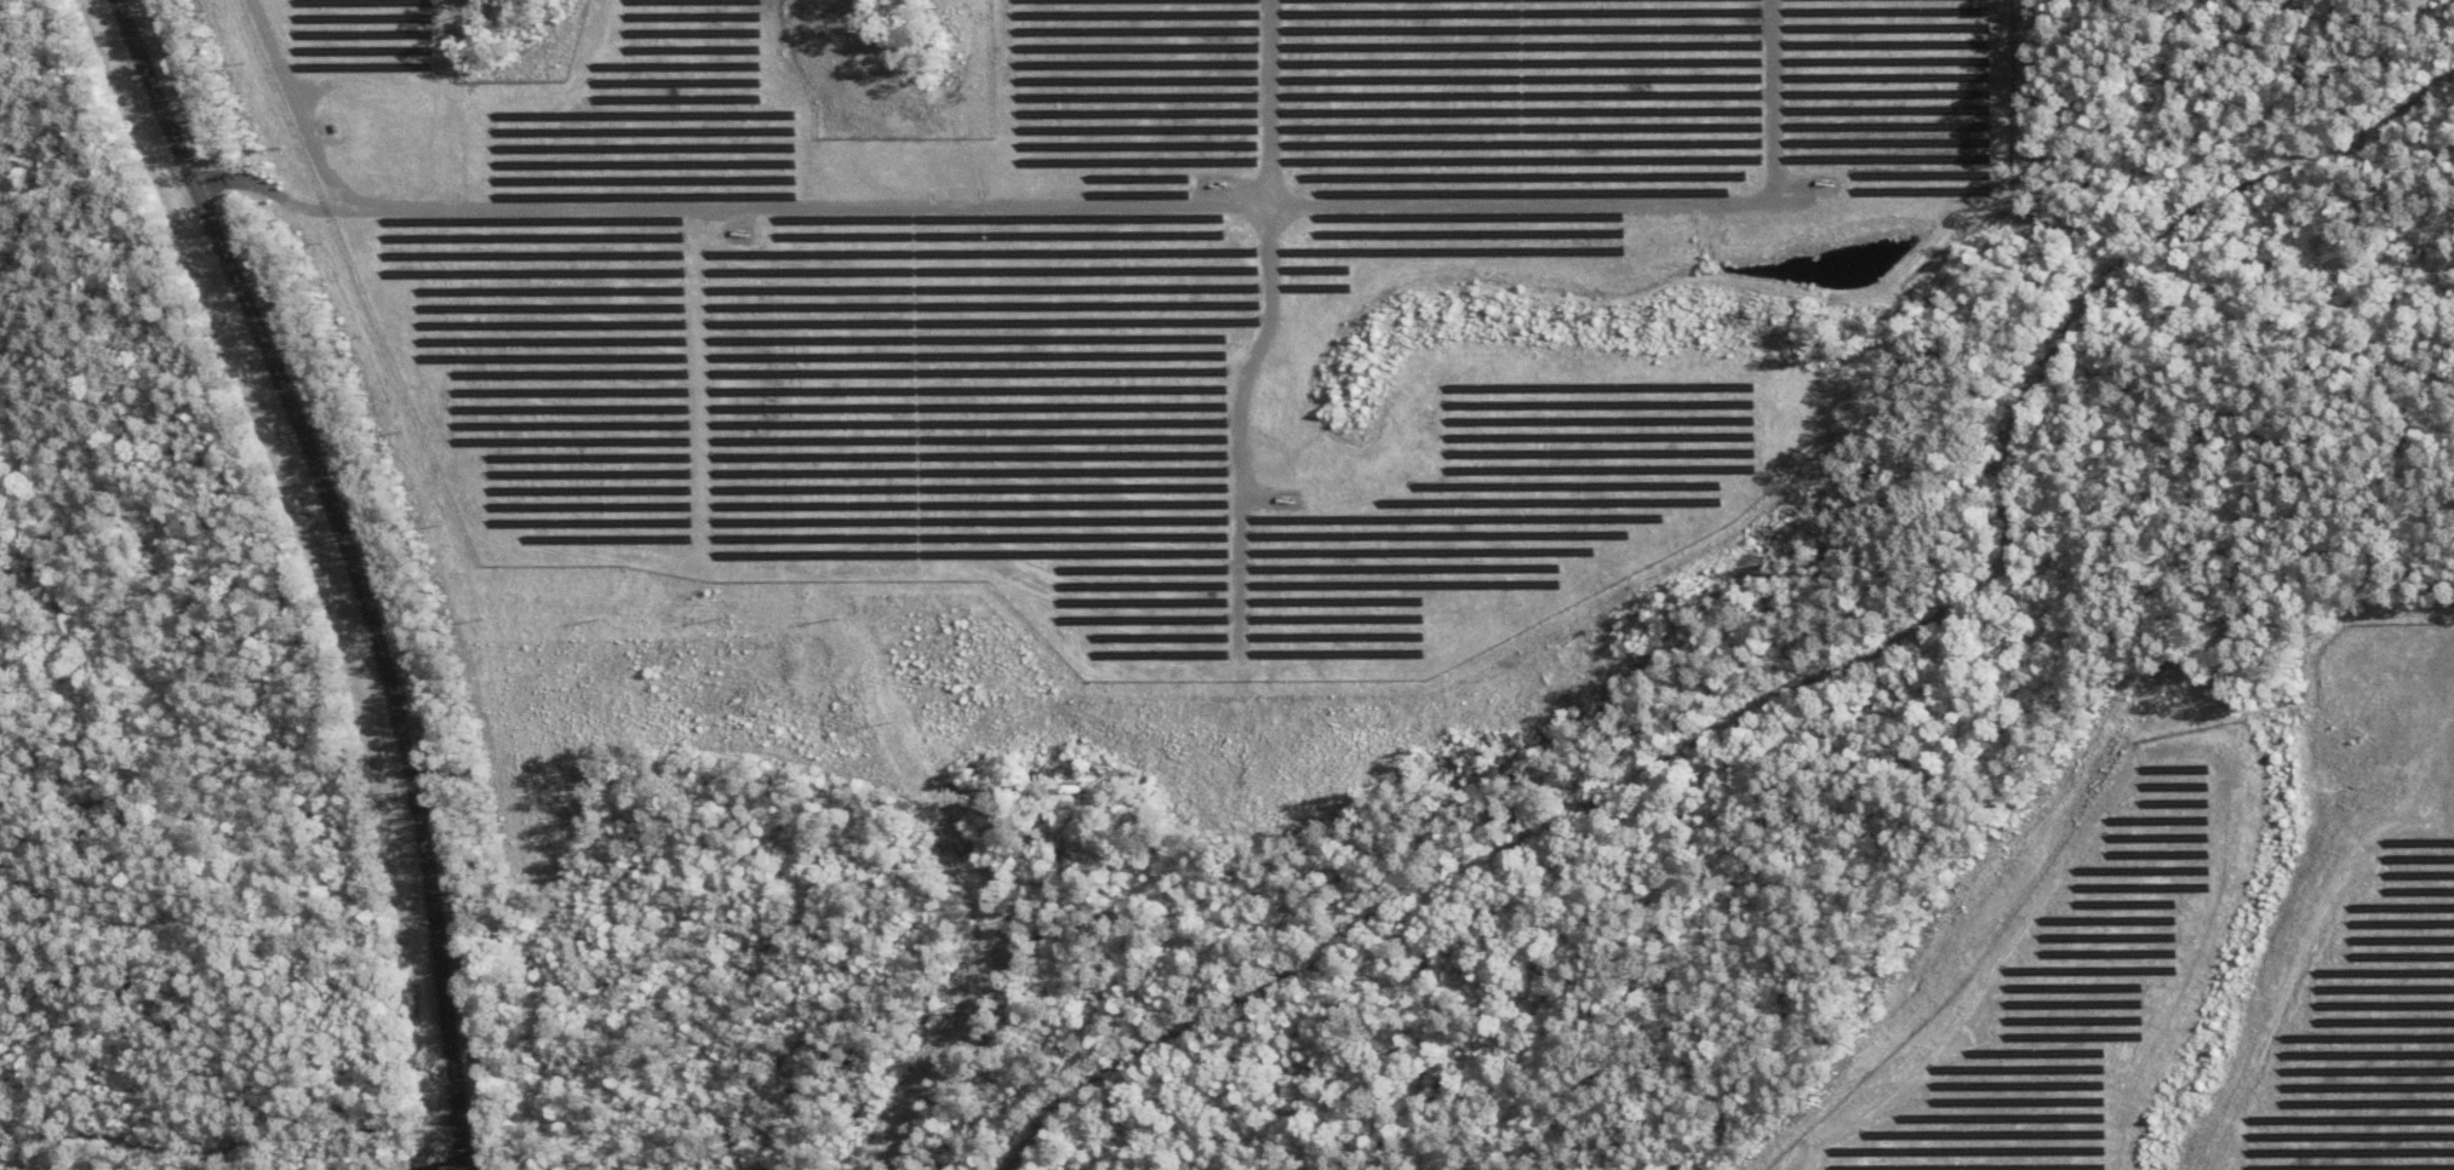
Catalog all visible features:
solar farm: (1154, 302)
road: (338, 570)
road: (407, 677)
solar farm: (2214, 958)
park: (208, 1137)
road: (462, 1168)

